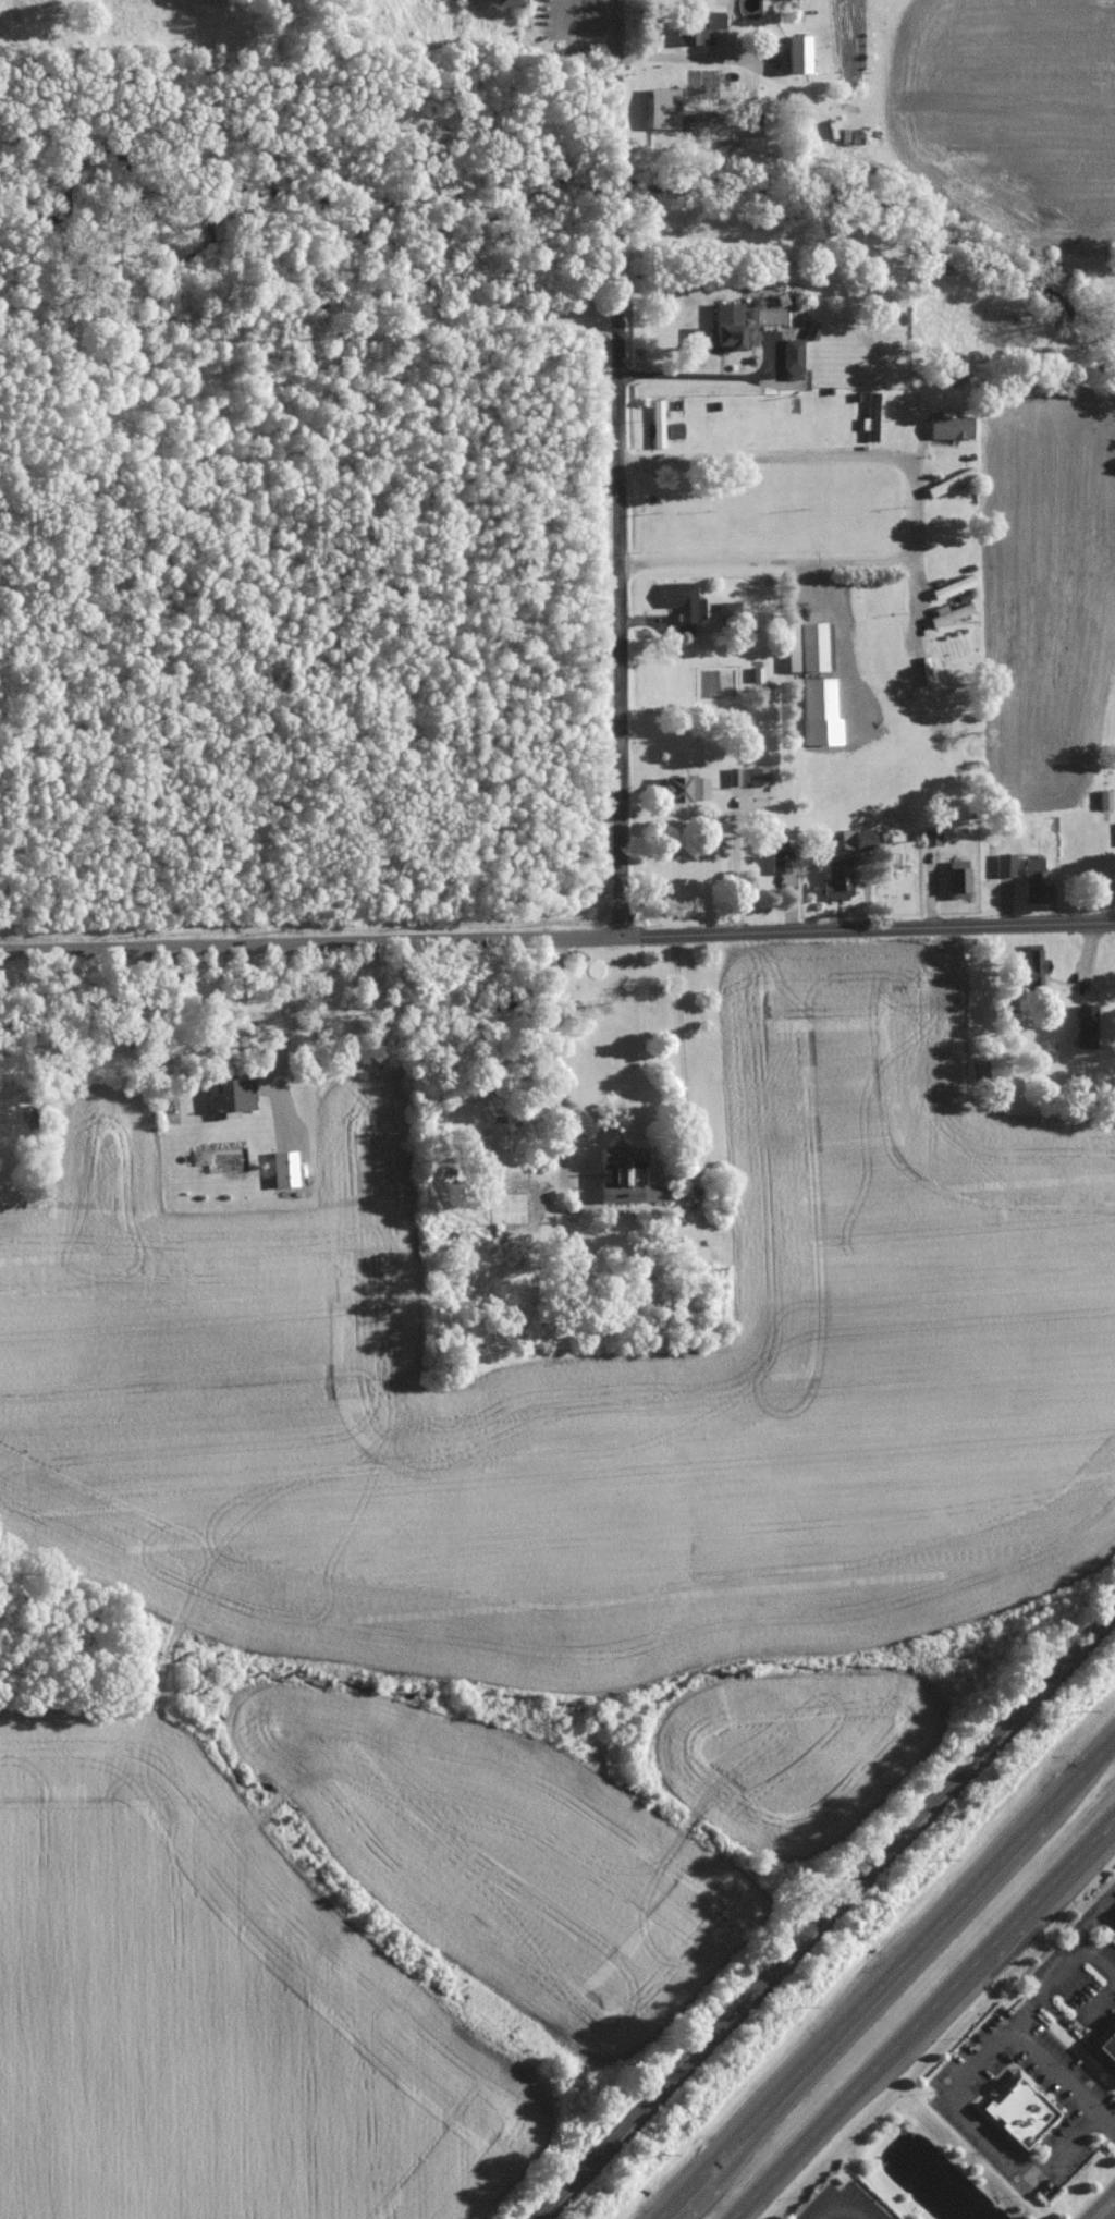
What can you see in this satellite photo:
building: (506, 2)
road: (576, 24)
building: (700, 25)
park: (299, 35)
building: (798, 53)
road: (688, 59)
building: (663, 108)
building: (730, 328)
building: (794, 358)
road: (706, 376)
building: (872, 417)
building: (659, 423)
building: (951, 426)
road: (816, 453)
road: (618, 468)
building: (948, 483)
road: (764, 563)
building: (948, 589)
building: (684, 601)
building: (730, 610)
building: (952, 614)
road: (840, 636)
building: (806, 647)
building: (820, 712)
building: (759, 776)
building: (734, 777)
building: (686, 789)
building: (1106, 798)
building: (933, 837)
building: (859, 839)
building: (781, 862)
building: (1006, 865)
road: (736, 873)
building: (840, 879)
building: (959, 879)
building: (1037, 880)
road: (557, 938)
building: (1033, 966)
building: (1087, 1025)
road: (560, 1072)
road: (683, 1077)
road: (268, 1082)
building: (231, 1097)
building: (285, 1169)
building: (628, 1176)
road: (1106, 1895)
road: (1106, 1913)
road: (1090, 1914)
railway: (830, 1918)
road: (1091, 1954)
road: (1063, 1975)
road: (890, 1980)
road: (927, 2019)
building: (1107, 2046)
road: (1053, 2066)
road: (952, 2089)
building: (1019, 2109)
road: (842, 2207)
road: (1104, 2208)

